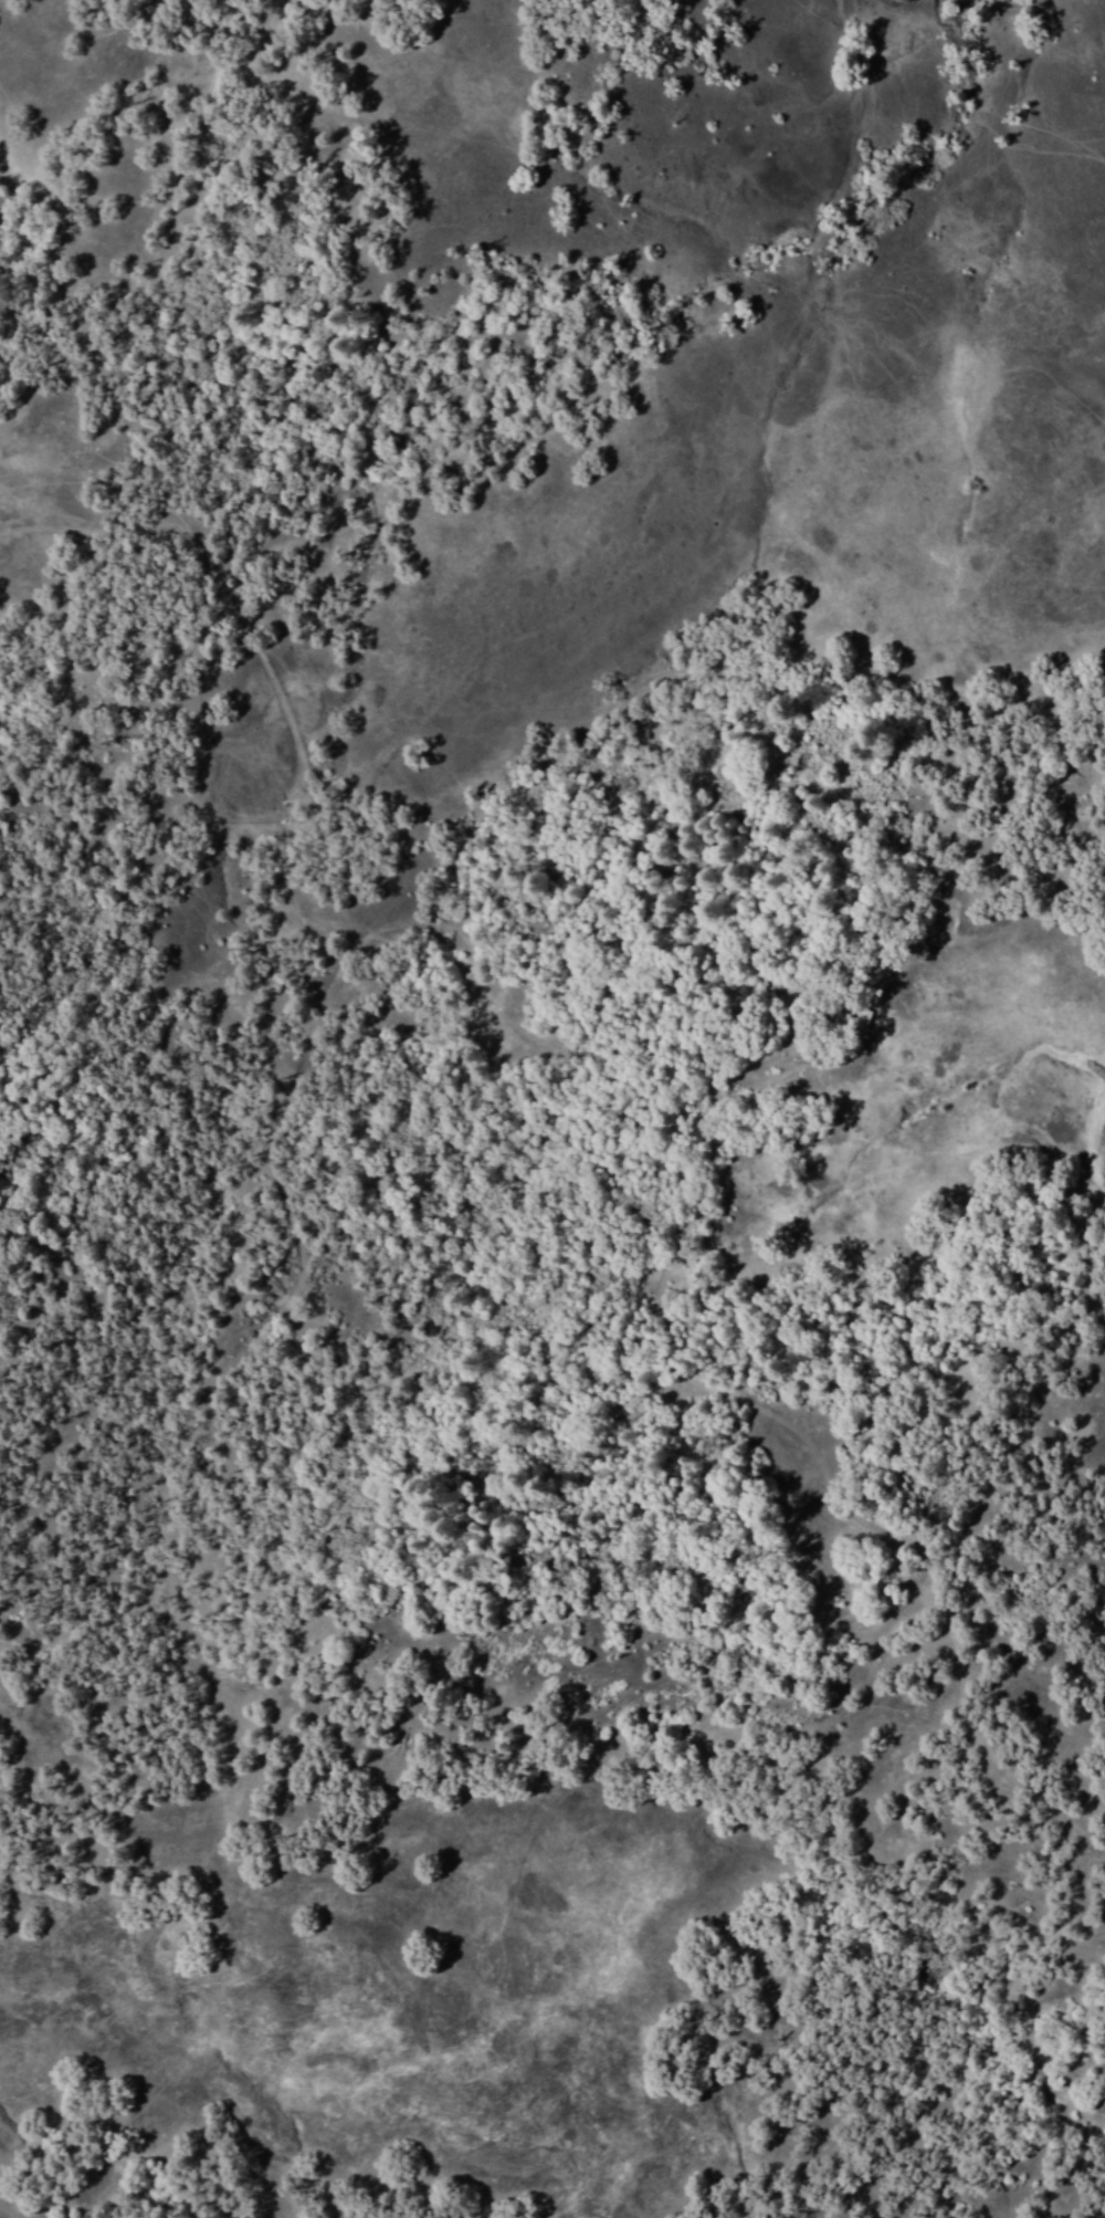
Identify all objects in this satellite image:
road: (715, 1387)
road: (959, 2033)

